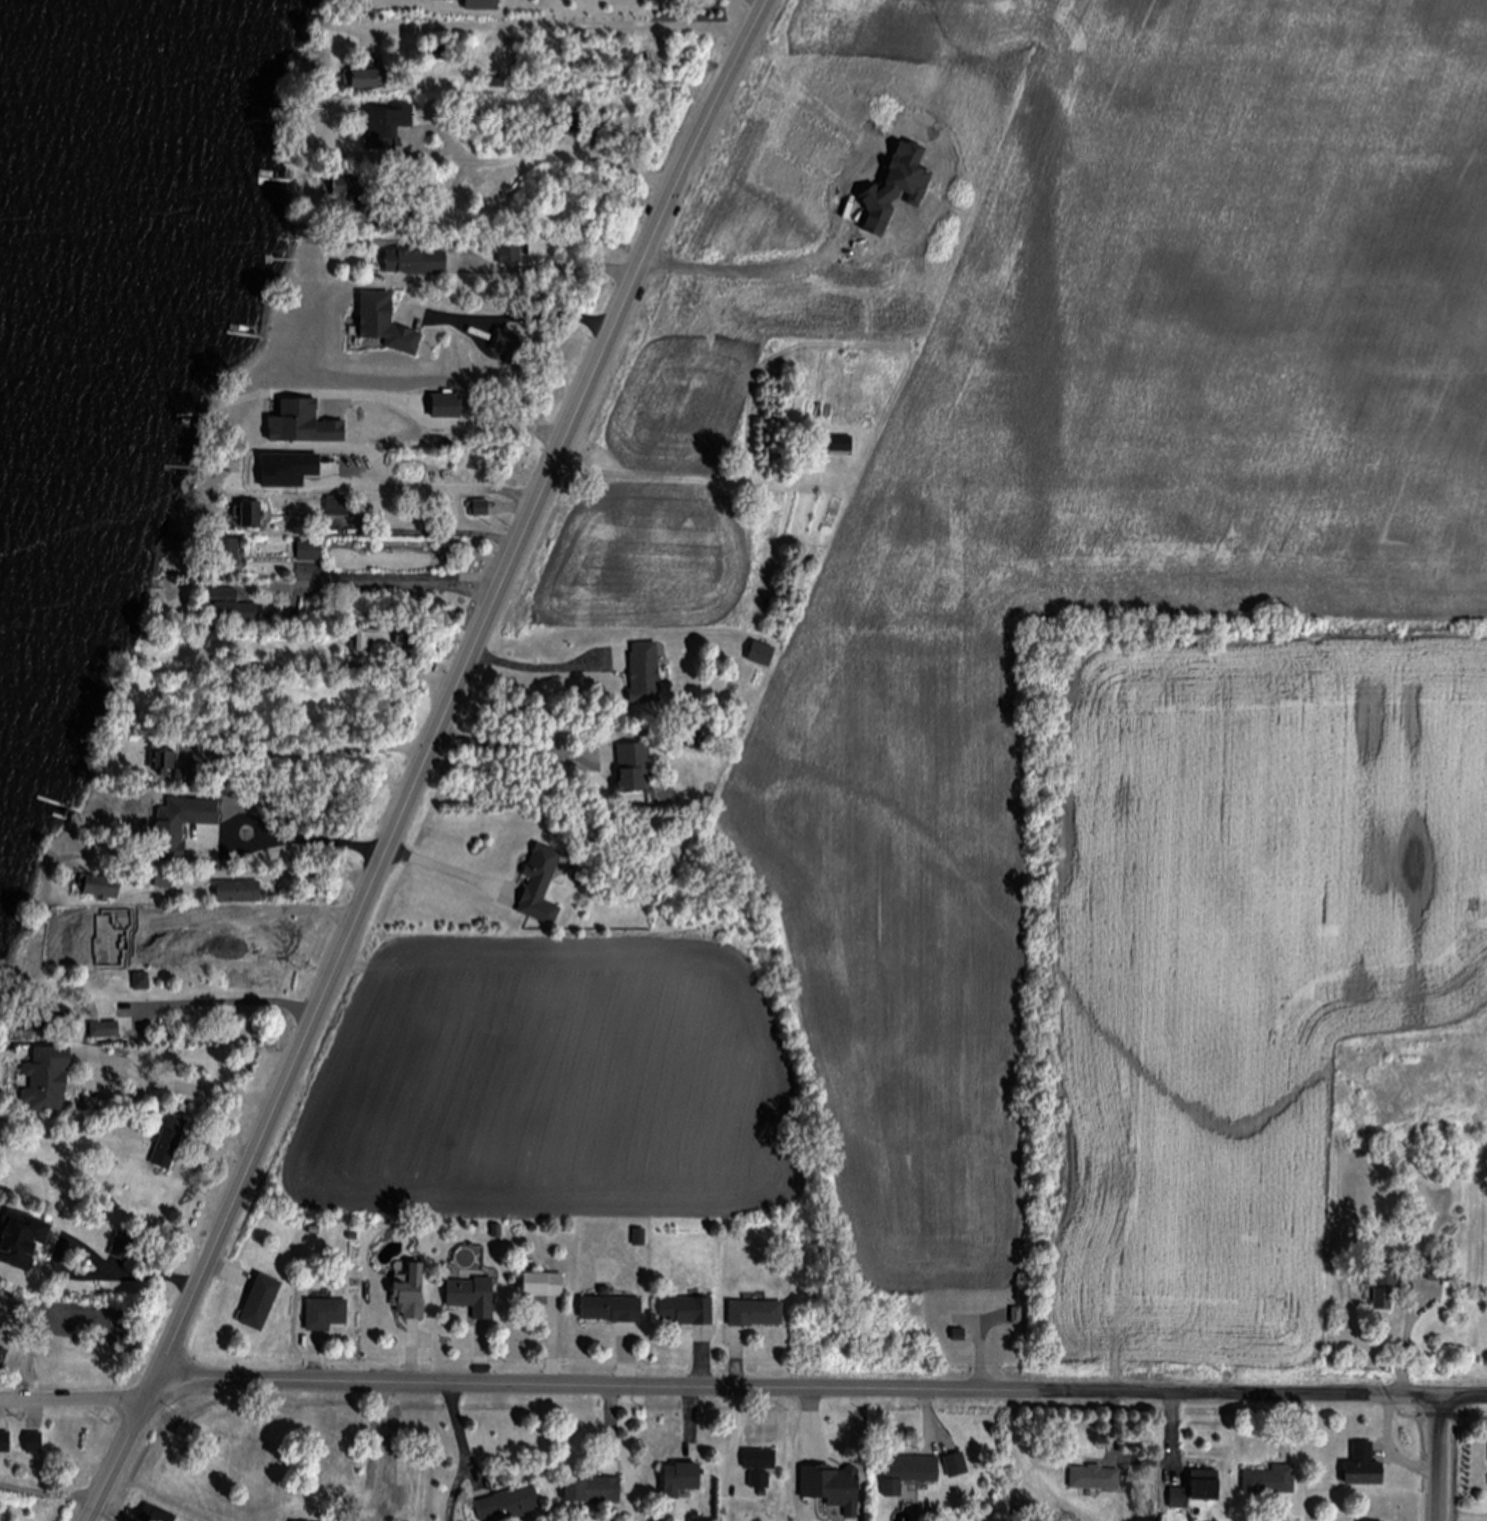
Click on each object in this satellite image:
building: (477, 5)
road: (558, 25)
building: (436, 55)
building: (364, 80)
building: (574, 124)
building: (390, 128)
road: (576, 161)
building: (350, 201)
building: (512, 253)
building: (418, 263)
road: (749, 271)
road: (560, 272)
road: (538, 319)
building: (387, 326)
building: (513, 344)
building: (446, 406)
building: (303, 424)
road: (453, 424)
building: (842, 447)
building: (272, 470)
building: (323, 487)
road: (452, 490)
building: (340, 508)
building: (482, 510)
building: (253, 516)
road: (433, 532)
building: (179, 544)
building: (465, 550)
building: (310, 552)
building: (228, 554)
road: (411, 582)
building: (233, 607)
building: (370, 638)
building: (411, 645)
building: (764, 656)
road: (531, 671)
building: (646, 674)
building: (693, 738)
crop: (1052, 745)
road: (511, 749)
road: (324, 753)
road: (426, 759)
building: (164, 763)
building: (636, 769)
building: (193, 774)
building: (177, 828)
road: (380, 854)
road: (277, 872)
building: (539, 880)
building: (166, 882)
building: (105, 889)
building: (240, 894)
road: (234, 908)
building: (75, 918)
building: (78, 953)
building: (143, 983)
road: (227, 1006)
building: (46, 1023)
building: (107, 1031)
building: (48, 1077)
road: (203, 1091)
building: (170, 1142)
building: (1434, 1179)
building: (639, 1237)
building: (23, 1239)
building: (124, 1247)
road: (138, 1269)
building: (777, 1271)
building: (1441, 1273)
building: (1383, 1285)
building: (544, 1286)
building: (411, 1297)
building: (474, 1298)
building: (262, 1305)
building: (613, 1311)
building: (689, 1312)
building: (327, 1315)
building: (756, 1315)
building: (1016, 1315)
building: (961, 1336)
road: (1409, 1347)
road: (741, 1392)
building: (35, 1442)
building: (6, 1443)
road: (1392, 1452)
road: (383, 1456)
road: (1440, 1460)
building: (956, 1465)
building: (1364, 1467)
building: (762, 1468)
building: (909, 1474)
building: (1097, 1480)
building: (682, 1481)
building: (1270, 1481)
building: (831, 1486)
building: (1195, 1491)
building: (595, 1492)
road: (48, 1499)
building: (511, 1505)
building: (157, 1515)

